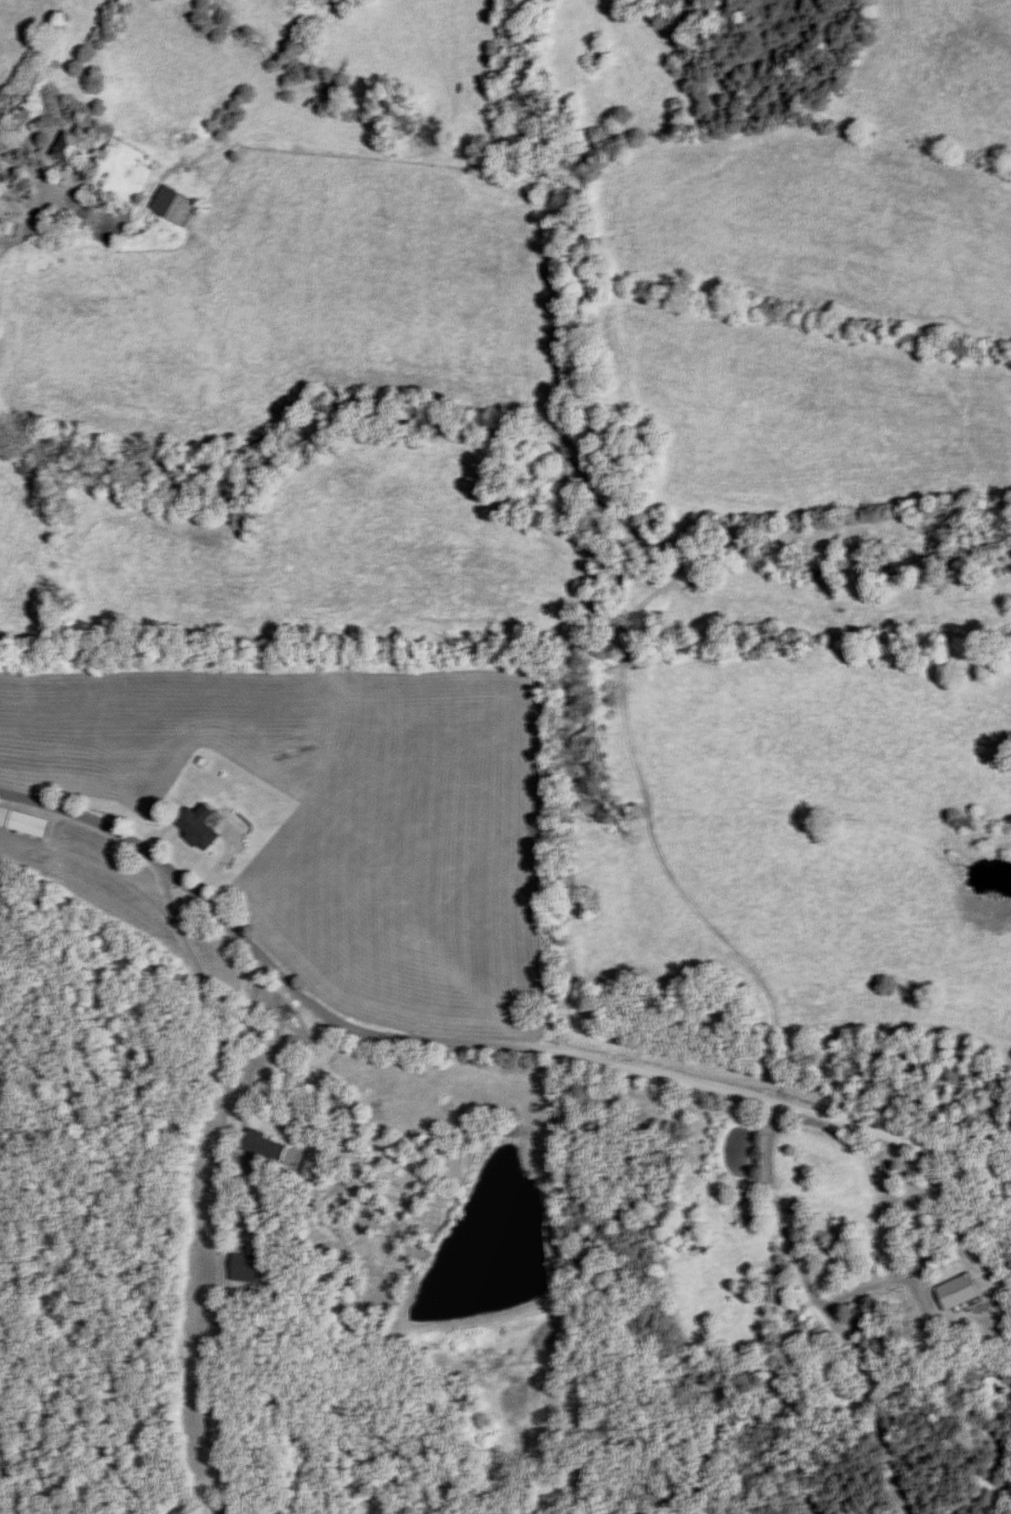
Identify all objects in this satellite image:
building: (71, 151)
building: (174, 205)
building: (25, 821)
building: (200, 825)
road: (474, 1047)
building: (259, 1148)
building: (313, 1167)
road: (211, 1177)
building: (244, 1267)

